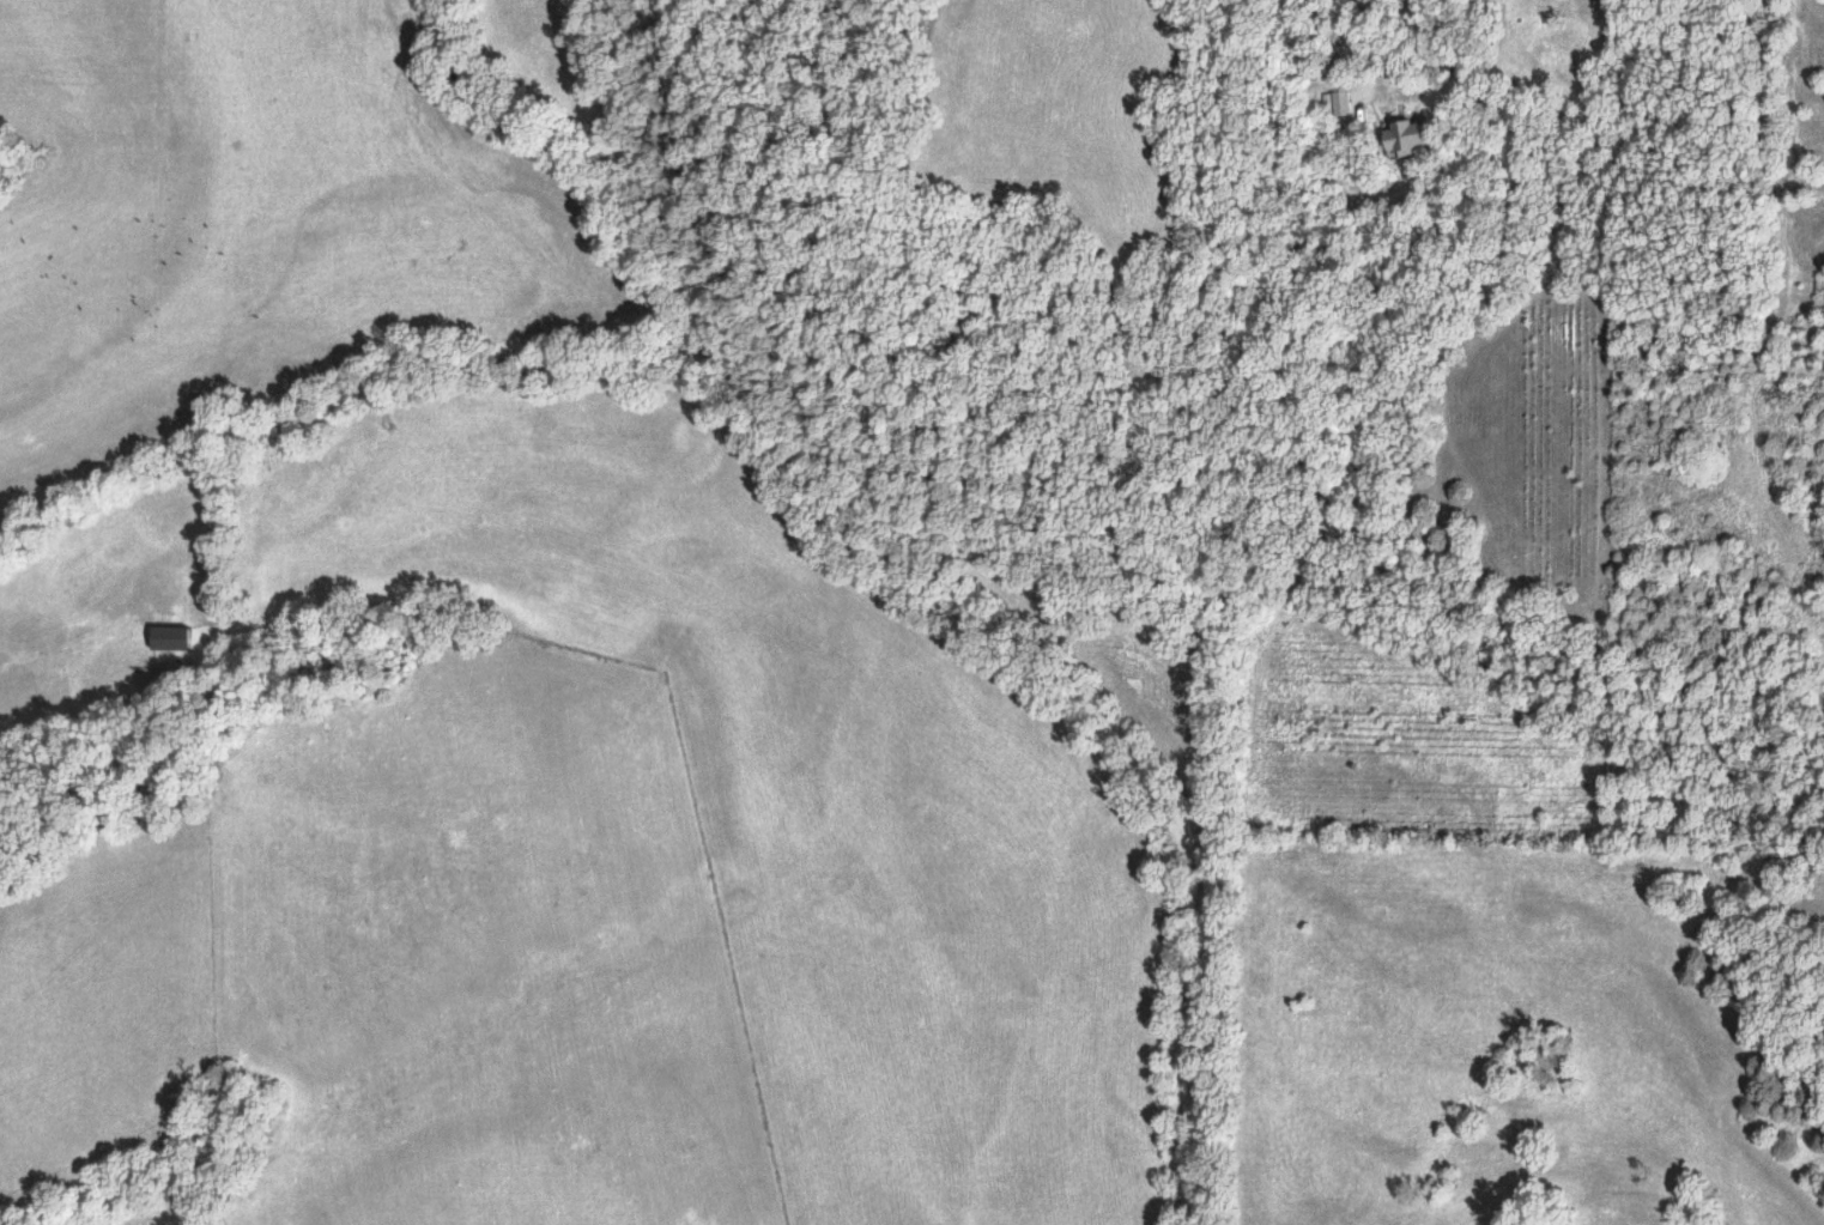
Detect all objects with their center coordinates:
road: (1328, 63)
building: (1334, 101)
building: (1401, 134)
building: (175, 636)

